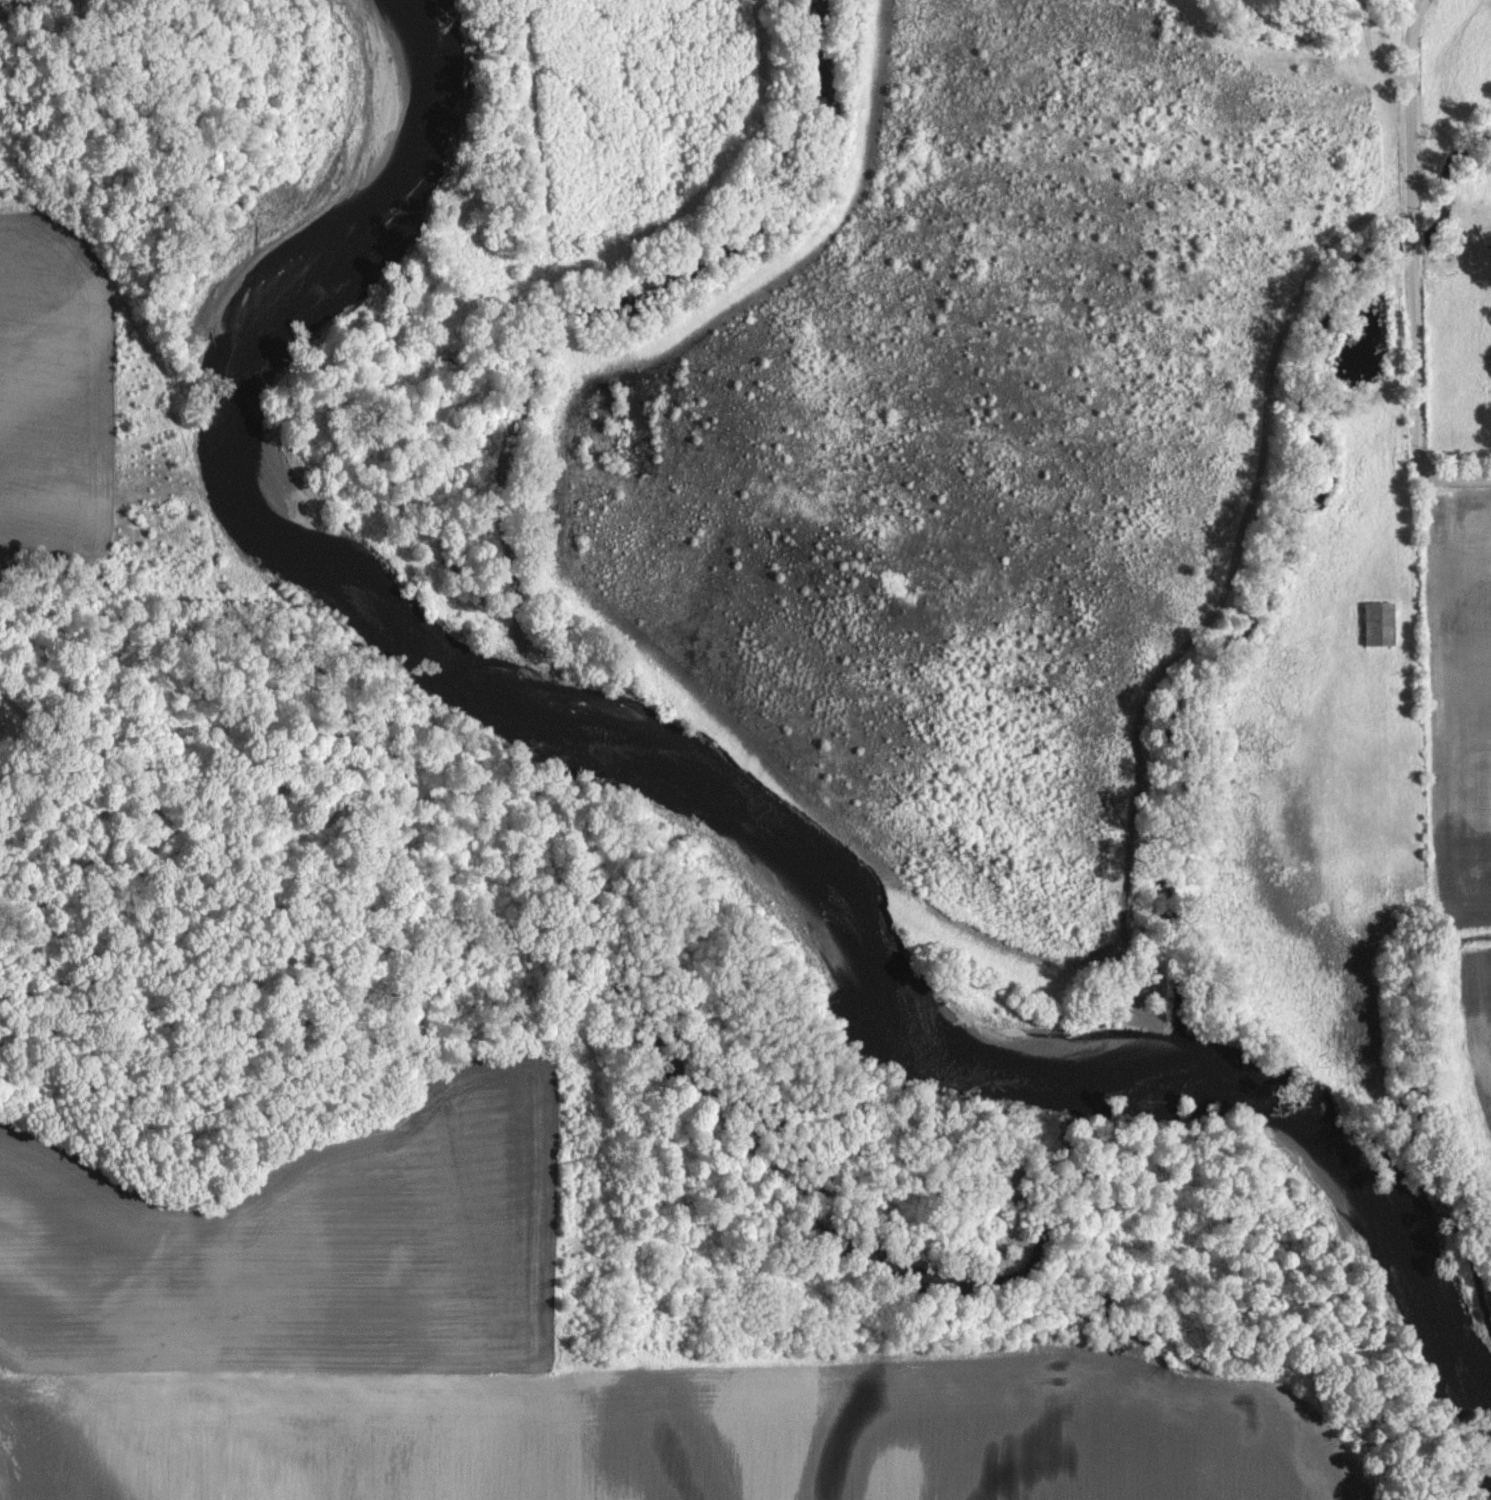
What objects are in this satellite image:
road: (1396, 280)
river: (715, 791)

